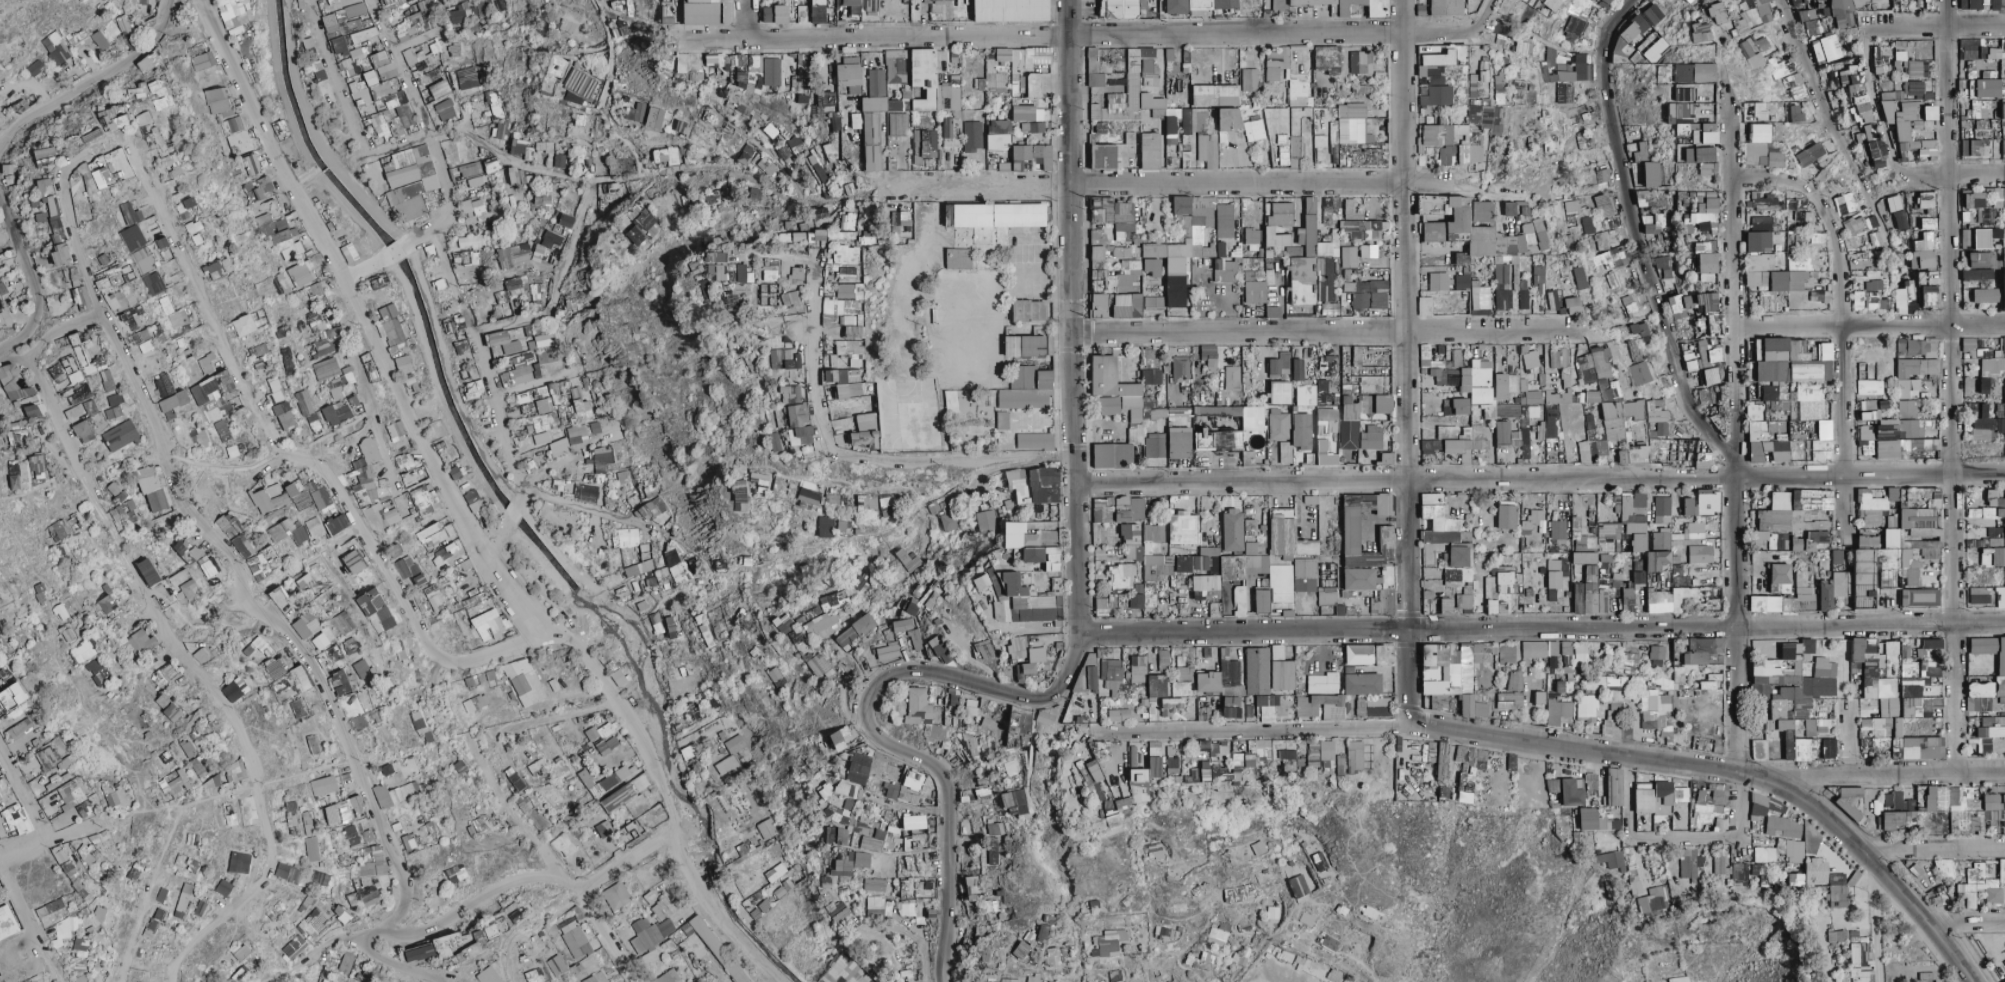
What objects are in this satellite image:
parking lot: (917, 260)
park: (970, 320)
park: (1990, 950)
park: (845, 974)

